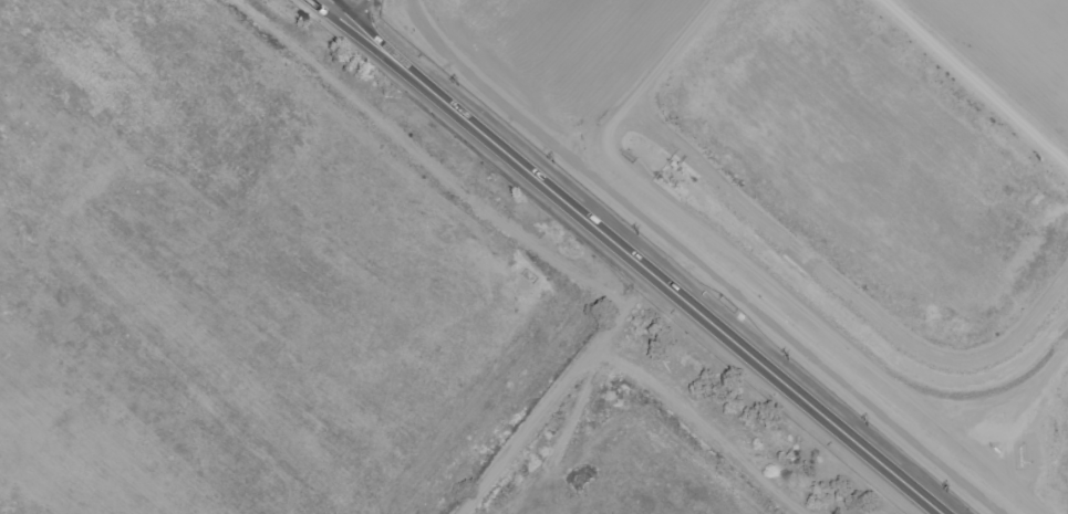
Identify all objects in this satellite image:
road: (356, 10)
road: (523, 166)
crop: (323, 302)
road: (829, 421)
road: (939, 512)

